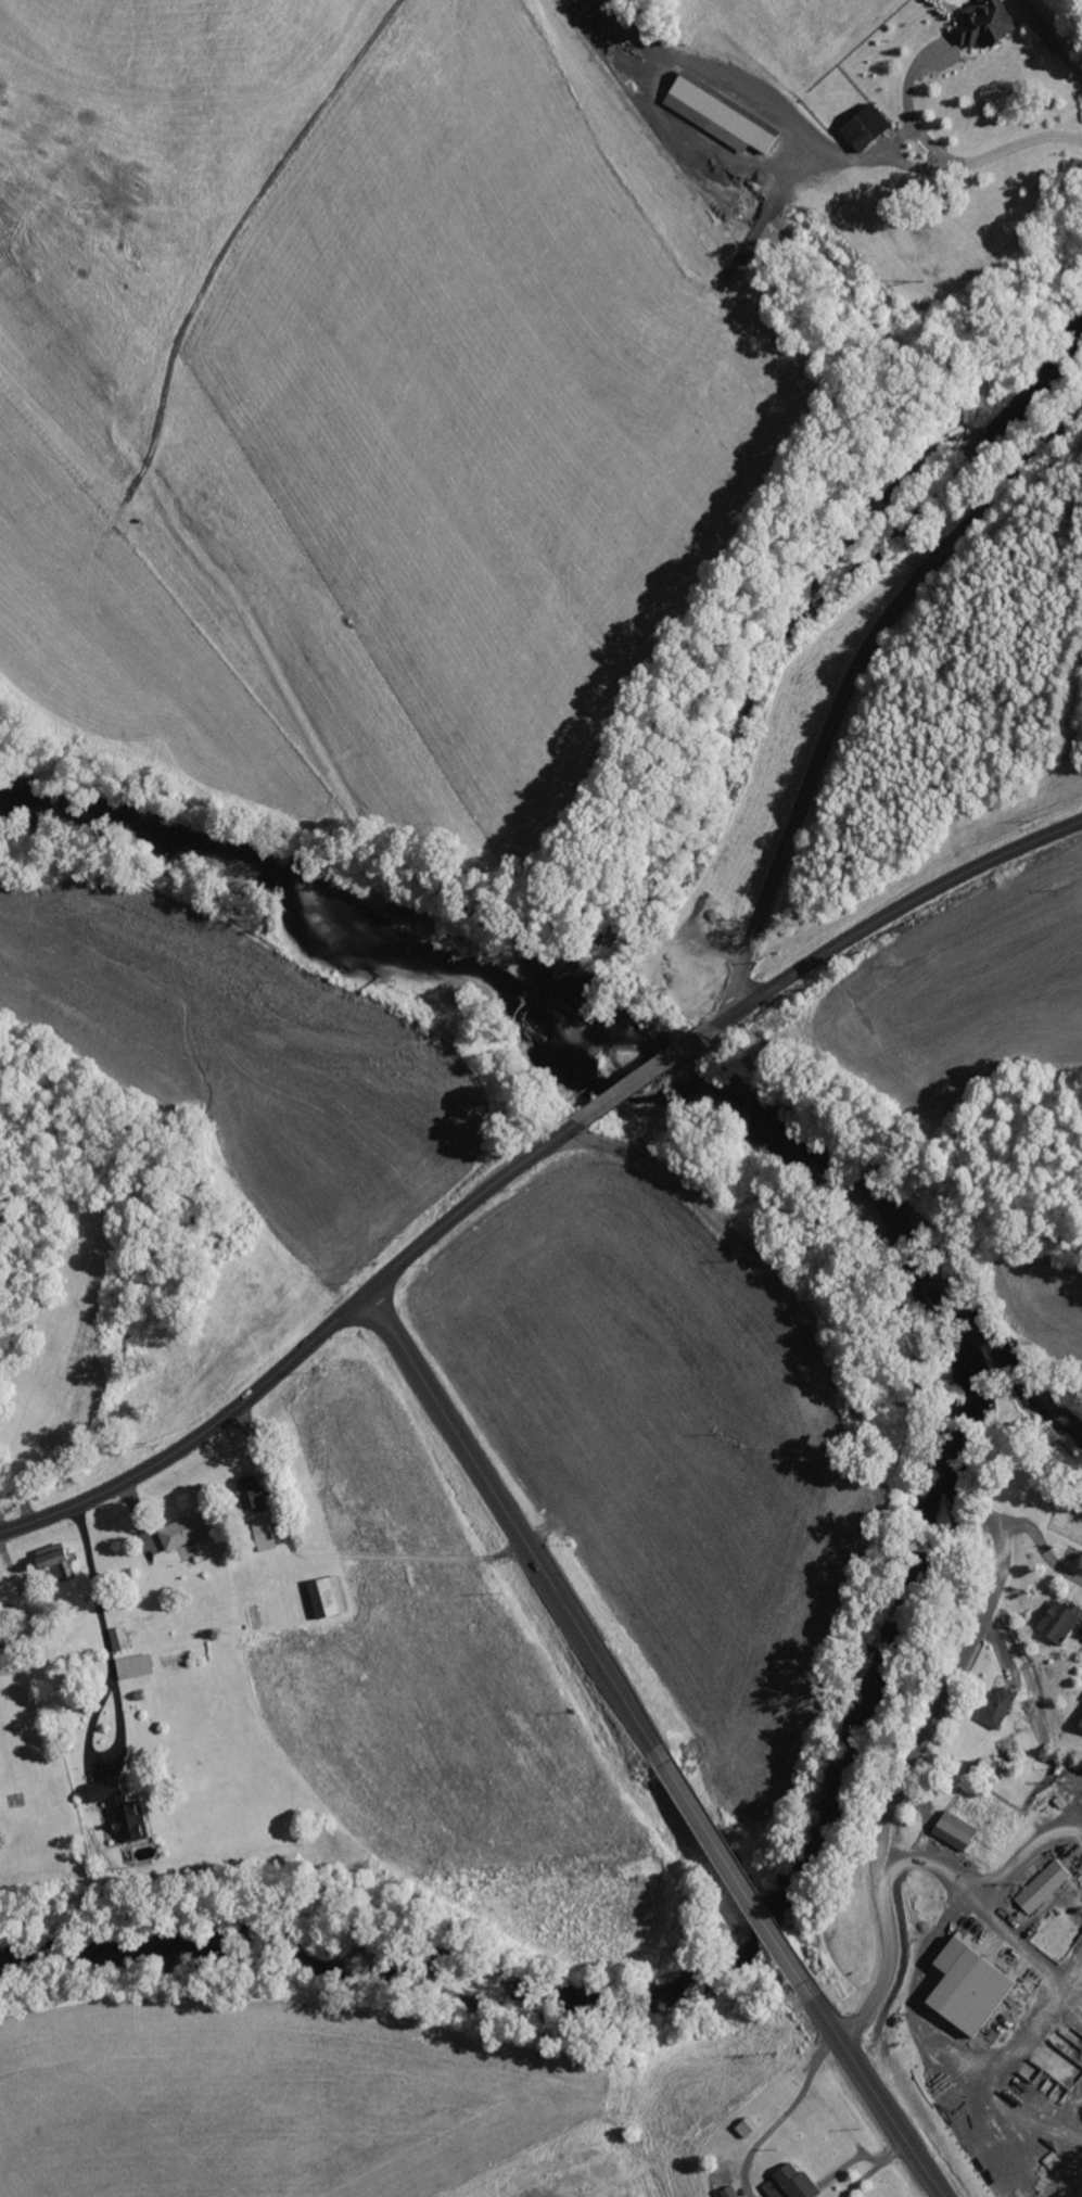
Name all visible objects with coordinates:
building: (982, 23)
building: (715, 116)
building: (862, 126)
road: (1048, 243)
road: (850, 681)
road: (860, 932)
road: (801, 1309)
road: (338, 1320)
building: (249, 1500)
building: (180, 1533)
building: (262, 1535)
road: (1044, 1550)
building: (54, 1561)
building: (324, 1598)
road: (562, 1600)
building: (1057, 1622)
building: (117, 1640)
building: (132, 1666)
building: (997, 1707)
building: (1080, 1726)
road: (902, 1785)
building: (117, 1809)
building: (953, 1830)
building: (1042, 1887)
road: (800, 1977)
building: (963, 1986)
road: (893, 2122)
building: (788, 2183)
building: (727, 2192)

